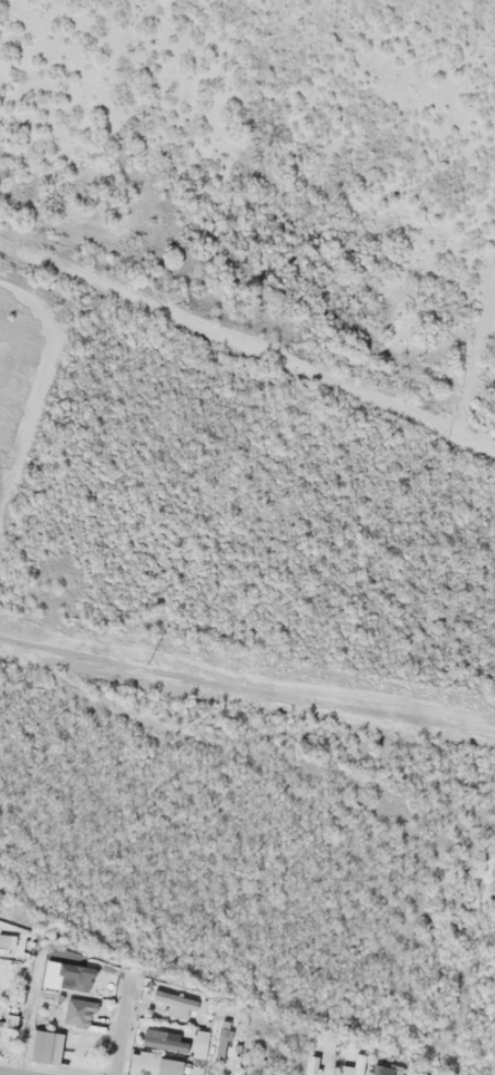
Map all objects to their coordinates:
building: (79, 979)
building: (174, 1003)
road: (120, 1033)
building: (44, 1048)
building: (161, 1065)
building: (354, 1065)
road: (15, 1072)

